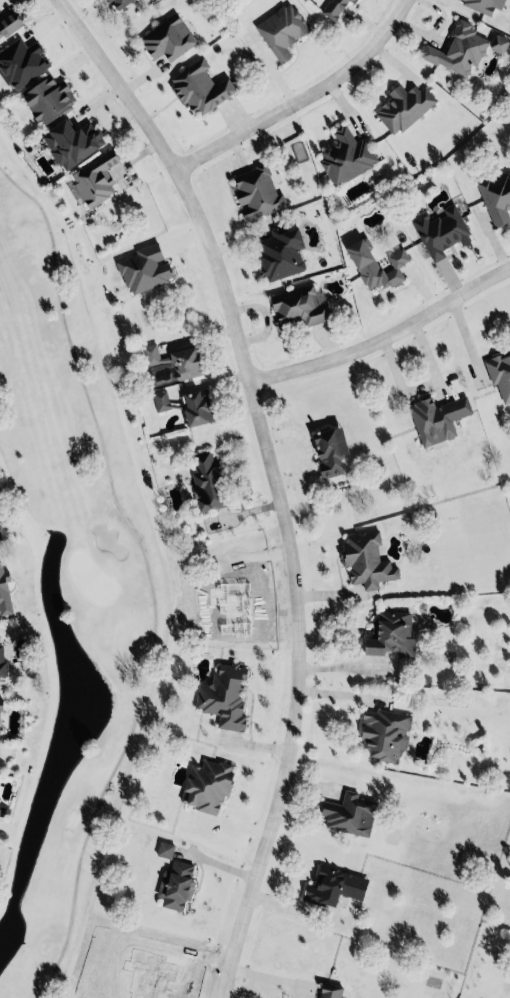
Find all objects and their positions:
building: (115, 3)
building: (126, 3)
building: (481, 4)
building: (339, 8)
building: (10, 28)
building: (279, 30)
building: (161, 38)
building: (495, 43)
building: (458, 49)
building: (19, 62)
building: (195, 88)
road: (306, 96)
building: (45, 99)
building: (401, 107)
building: (69, 142)
building: (343, 155)
building: (93, 177)
road: (186, 177)
building: (254, 190)
building: (495, 196)
building: (438, 230)
building: (278, 251)
building: (372, 264)
building: (141, 267)
road: (495, 272)
building: (293, 306)
road: (459, 340)
road: (366, 341)
building: (147, 353)
building: (183, 361)
building: (499, 372)
building: (158, 399)
building: (194, 406)
building: (434, 417)
building: (328, 449)
building: (205, 481)
building: (360, 559)
building: (3, 589)
building: (388, 633)
building: (0, 663)
road: (293, 693)
building: (221, 695)
building: (383, 734)
building: (202, 791)
building: (349, 811)
building: (162, 849)
building: (170, 884)
building: (325, 887)
road: (254, 974)
building: (324, 992)

